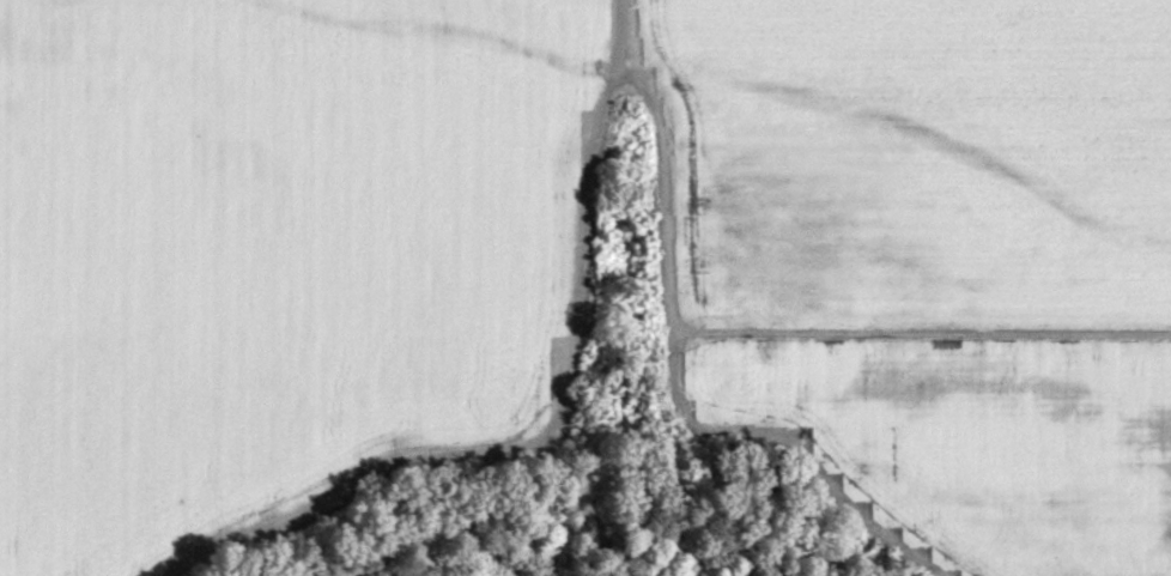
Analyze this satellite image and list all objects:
road: (745, 331)

